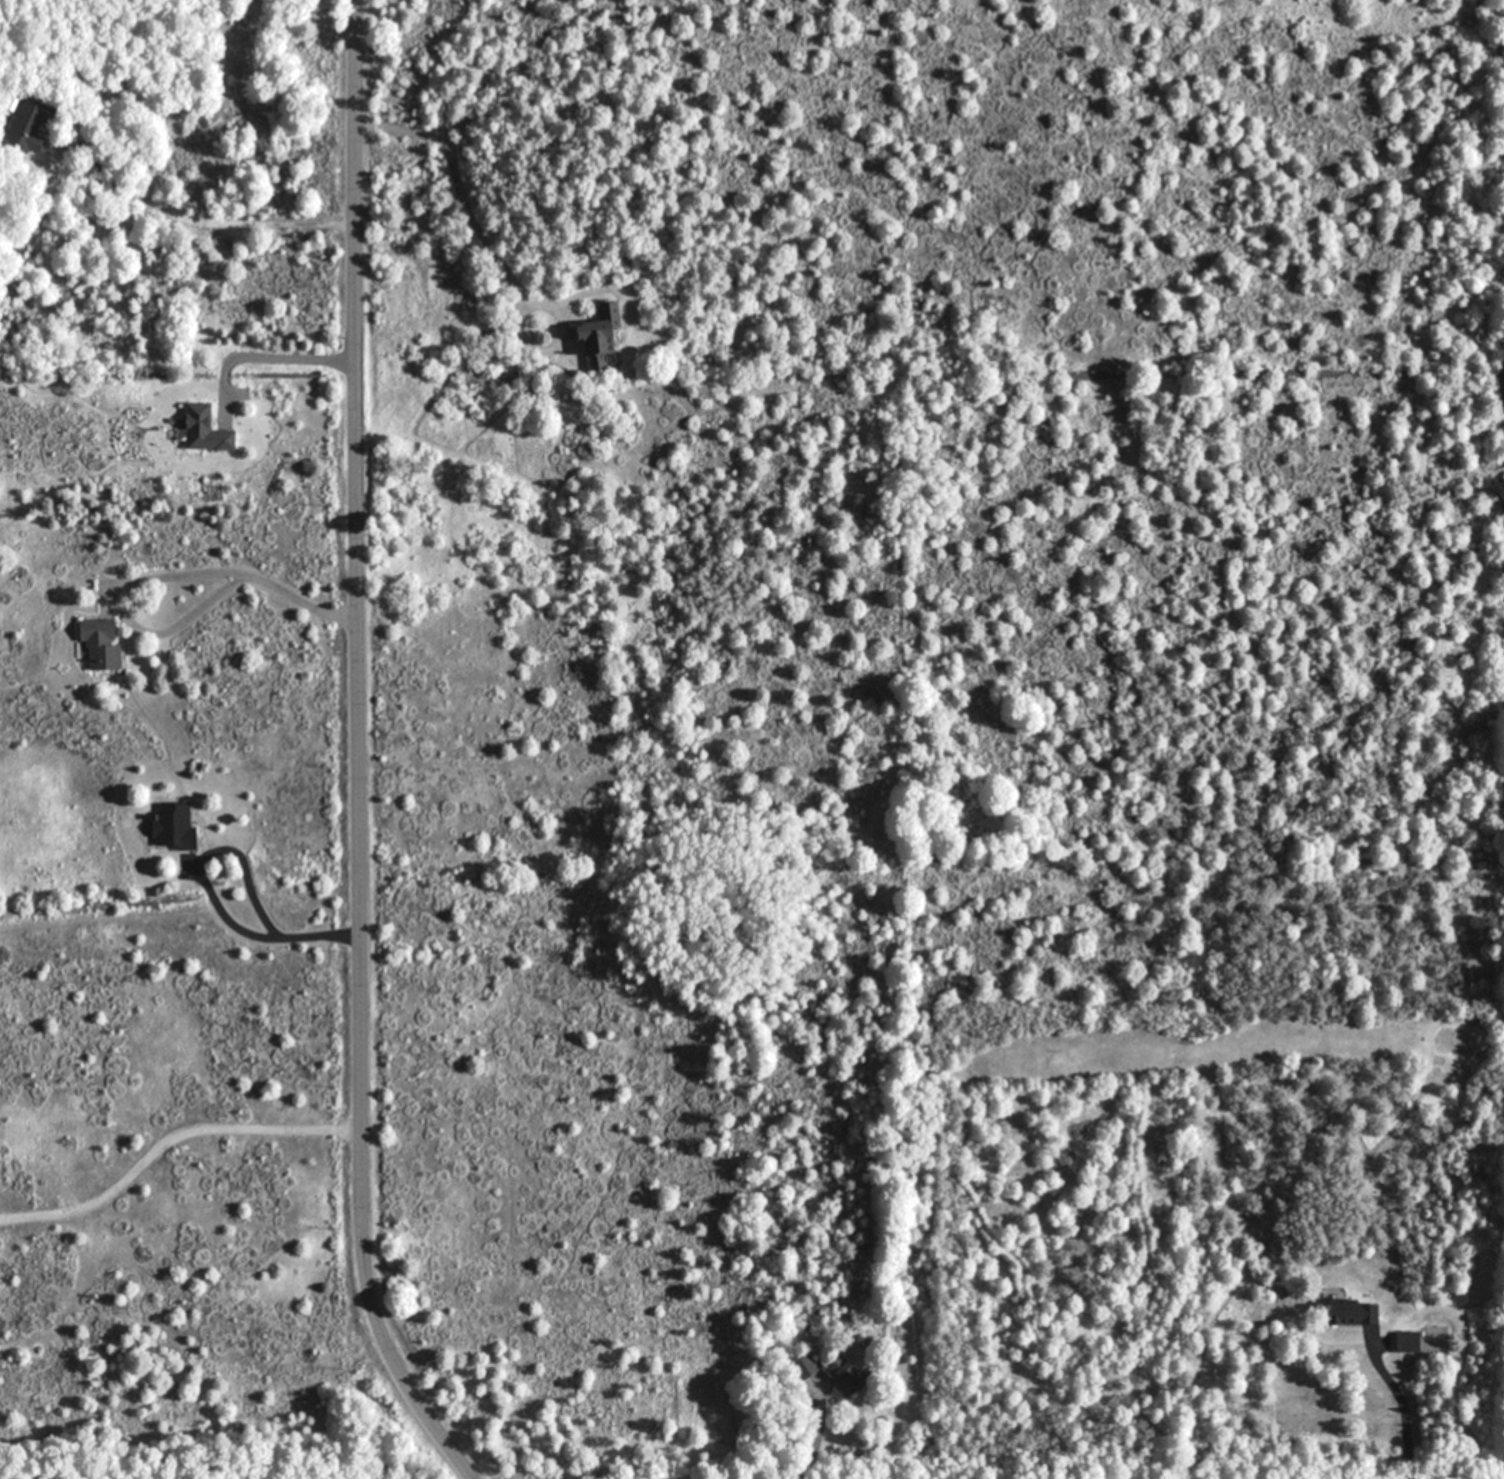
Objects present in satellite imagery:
building: (27, 124)
road: (193, 221)
road: (489, 249)
building: (594, 335)
road: (141, 579)
building: (96, 642)
road: (359, 752)
building: (169, 825)
road: (207, 886)
road: (168, 1139)
building: (1339, 1308)
building: (1403, 1341)
road: (1405, 1414)
road: (804, 1448)

